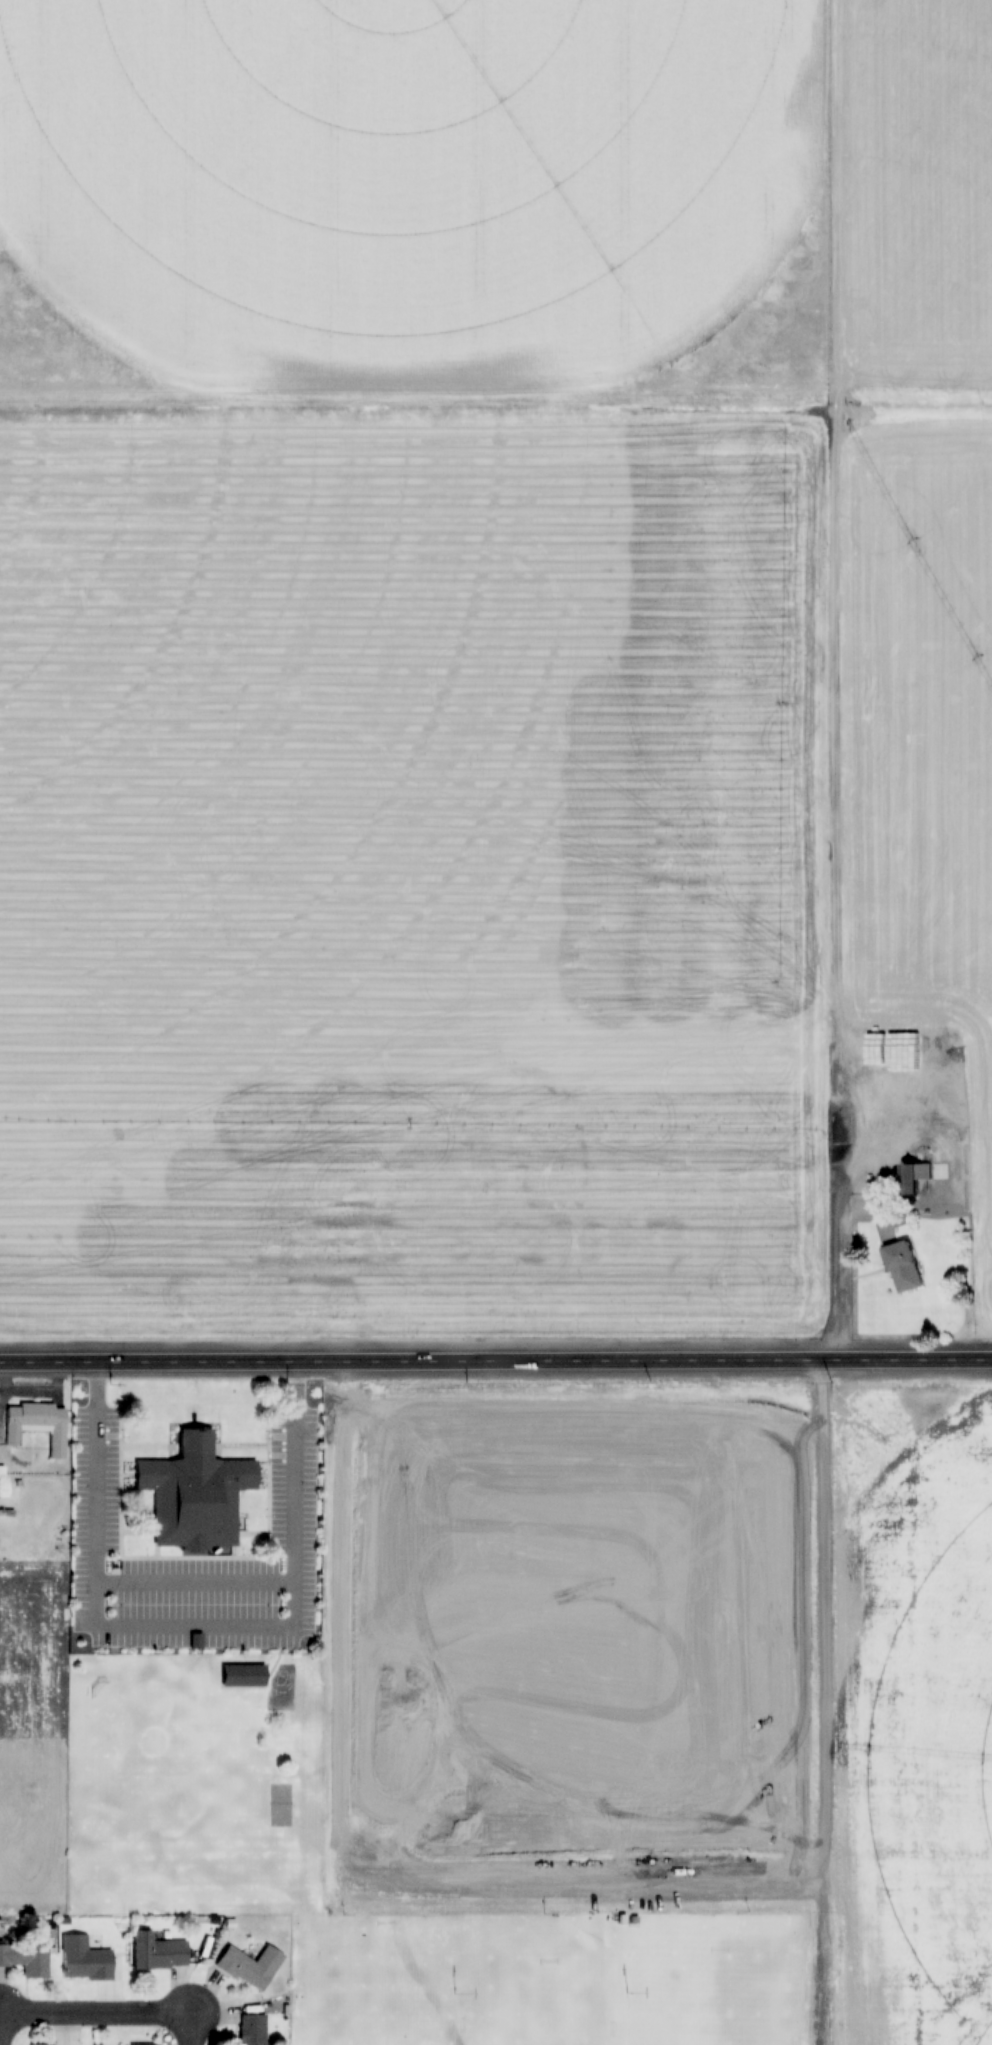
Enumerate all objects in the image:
building: (912, 1176)
building: (902, 1267)
road: (496, 1360)
building: (36, 1424)
building: (193, 1494)
parking lot: (289, 1508)
crop: (575, 1648)
building: (241, 1677)
crop: (922, 1728)
building: (823, 1876)
building: (153, 1948)
building: (83, 1956)
building: (26, 1959)
building: (249, 1962)
park: (368, 1987)
park: (543, 1999)
park: (704, 2000)
road: (98, 2013)
road: (195, 2027)
building: (252, 2028)
building: (40, 2043)
building: (141, 2043)

